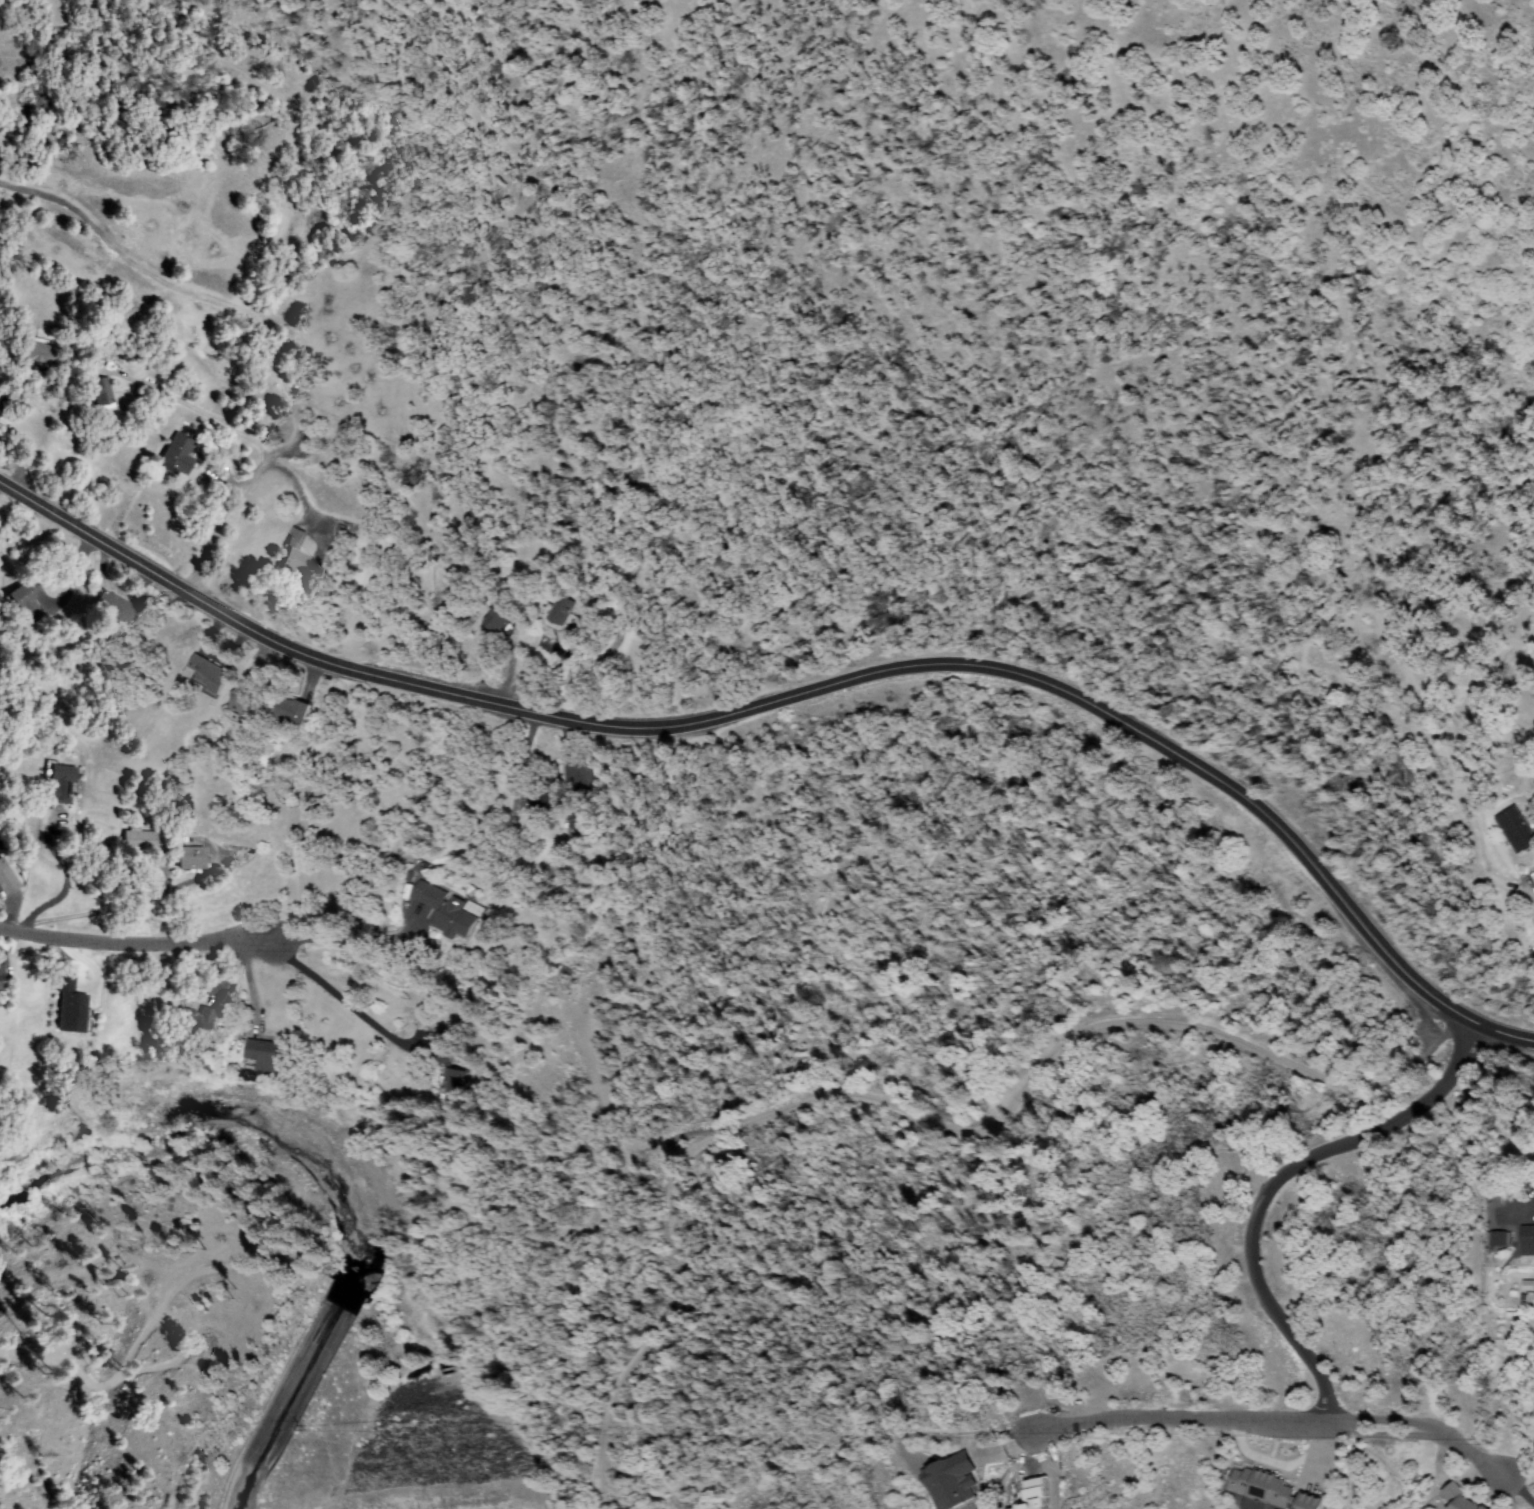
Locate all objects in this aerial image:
building: (40, 354)
building: (91, 392)
building: (103, 394)
building: (179, 454)
road: (223, 459)
road: (237, 487)
building: (287, 555)
building: (297, 558)
building: (25, 604)
building: (114, 606)
building: (563, 610)
building: (547, 613)
building: (479, 618)
building: (499, 618)
road: (664, 660)
building: (211, 674)
road: (807, 687)
building: (244, 701)
building: (294, 710)
building: (545, 777)
building: (63, 785)
building: (523, 800)
building: (536, 803)
building: (576, 819)
building: (1520, 829)
building: (1, 838)
building: (141, 839)
building: (193, 859)
building: (7, 878)
building: (1531, 880)
building: (446, 911)
road: (130, 945)
building: (1, 981)
building: (67, 983)
building: (74, 1011)
building: (197, 1022)
building: (445, 1049)
building: (254, 1055)
building: (272, 1055)
building: (436, 1083)
building: (451, 1085)
road: (906, 1115)
road: (1270, 1185)
building: (1500, 1238)
building: (1529, 1240)
building: (1510, 1293)
road: (188, 1321)
road: (71, 1360)
road: (1277, 1422)
building: (957, 1482)
building: (1262, 1487)
building: (1448, 1498)
building: (1461, 1498)
building: (1310, 1502)
building: (1486, 1508)

